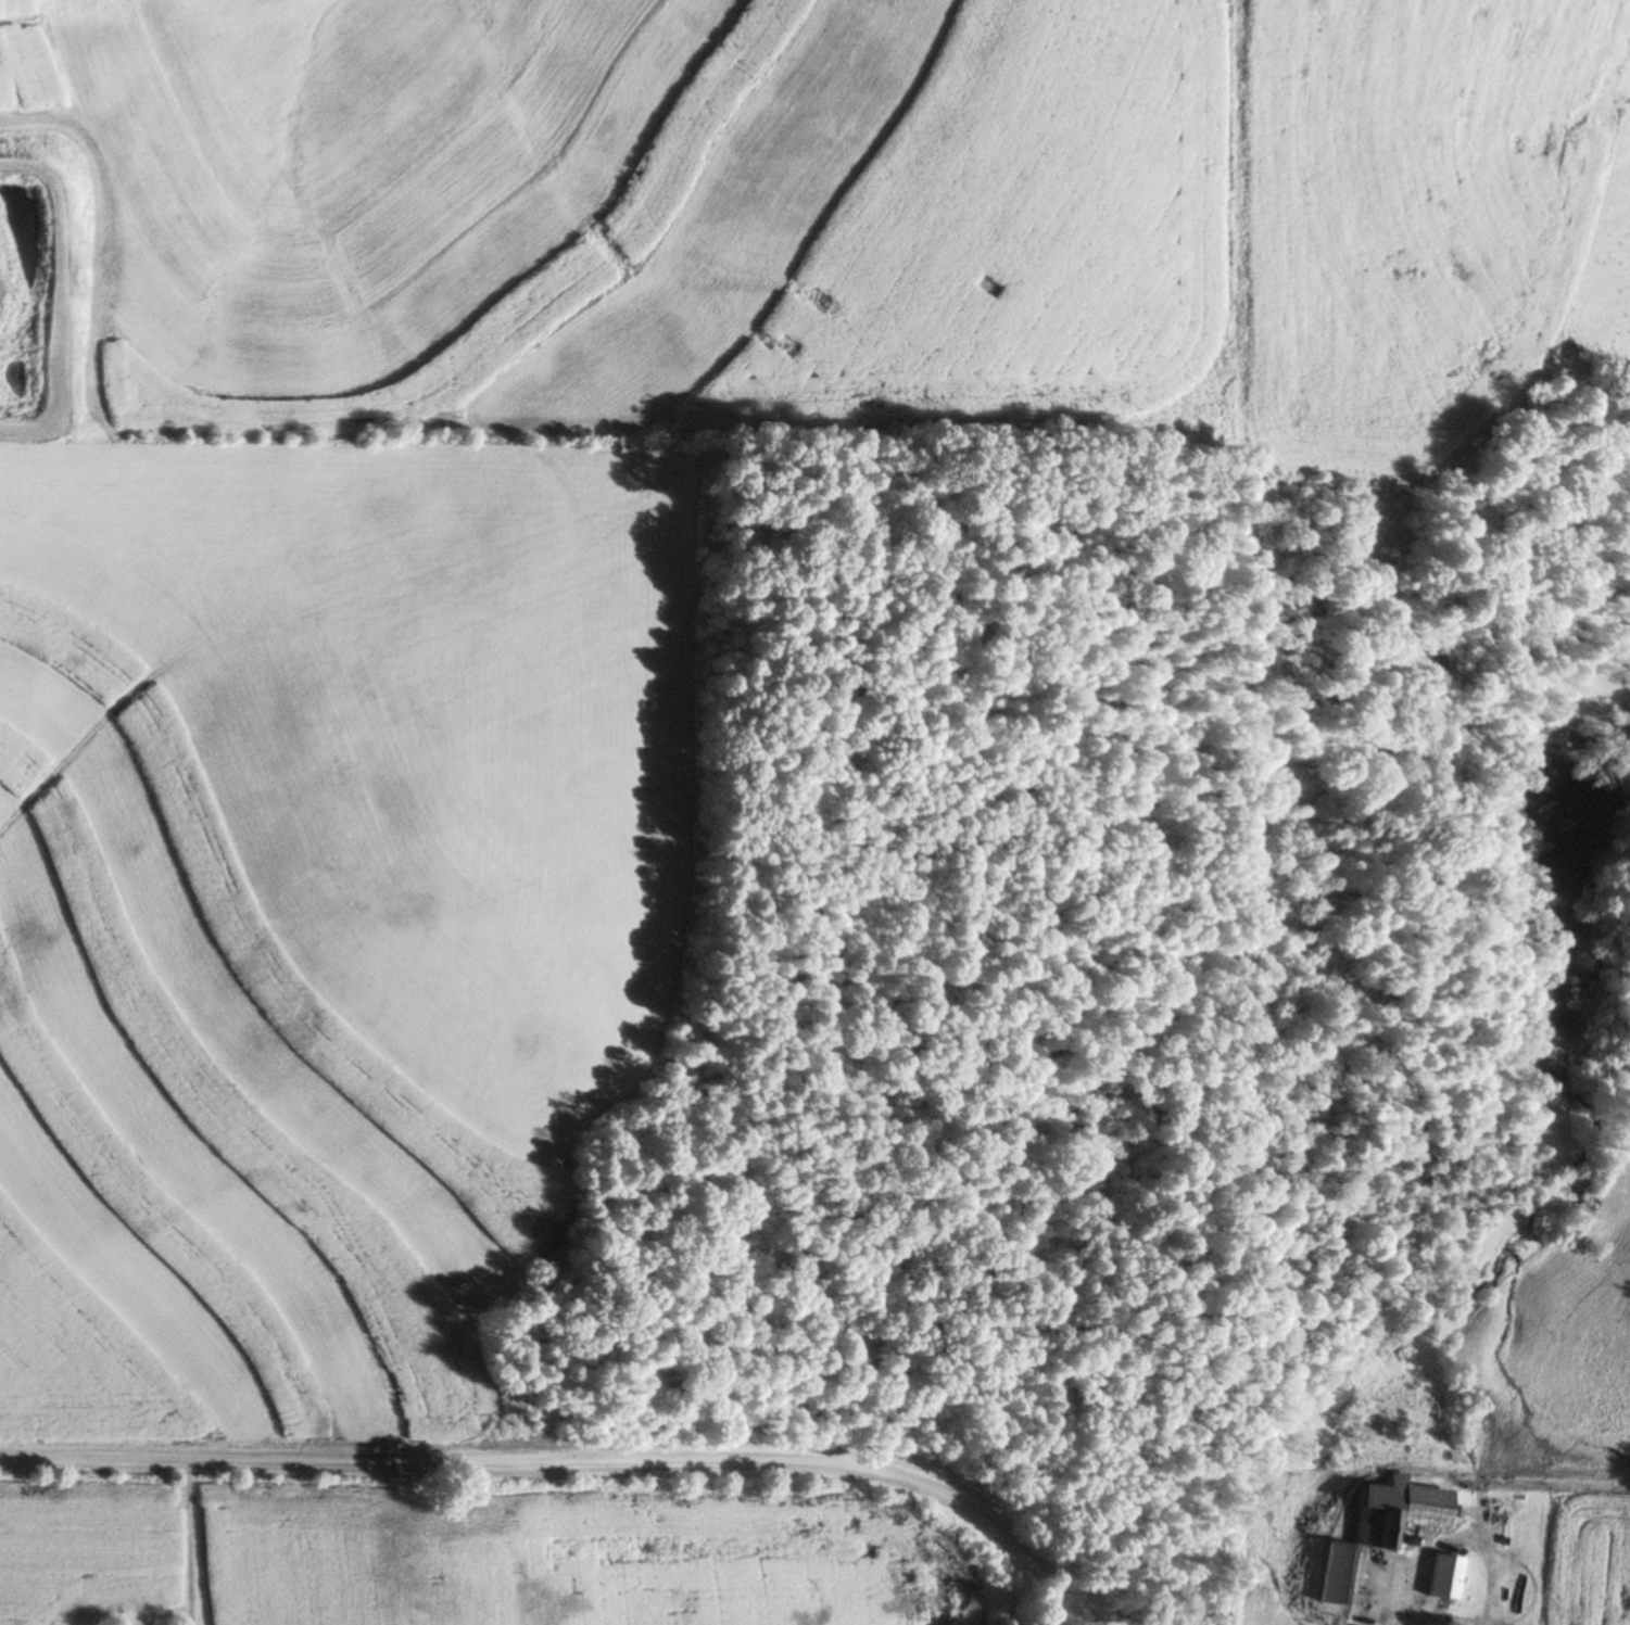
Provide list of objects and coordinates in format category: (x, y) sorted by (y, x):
road: (573, 1463)
building: (1390, 1513)
building: (1326, 1575)
building: (1439, 1578)

